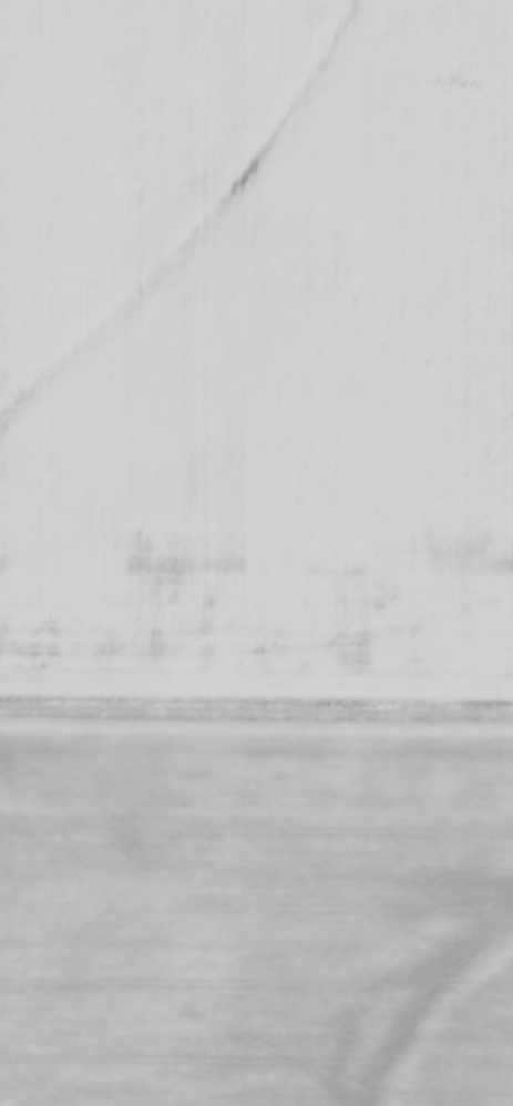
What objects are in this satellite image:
road: (256, 702)

